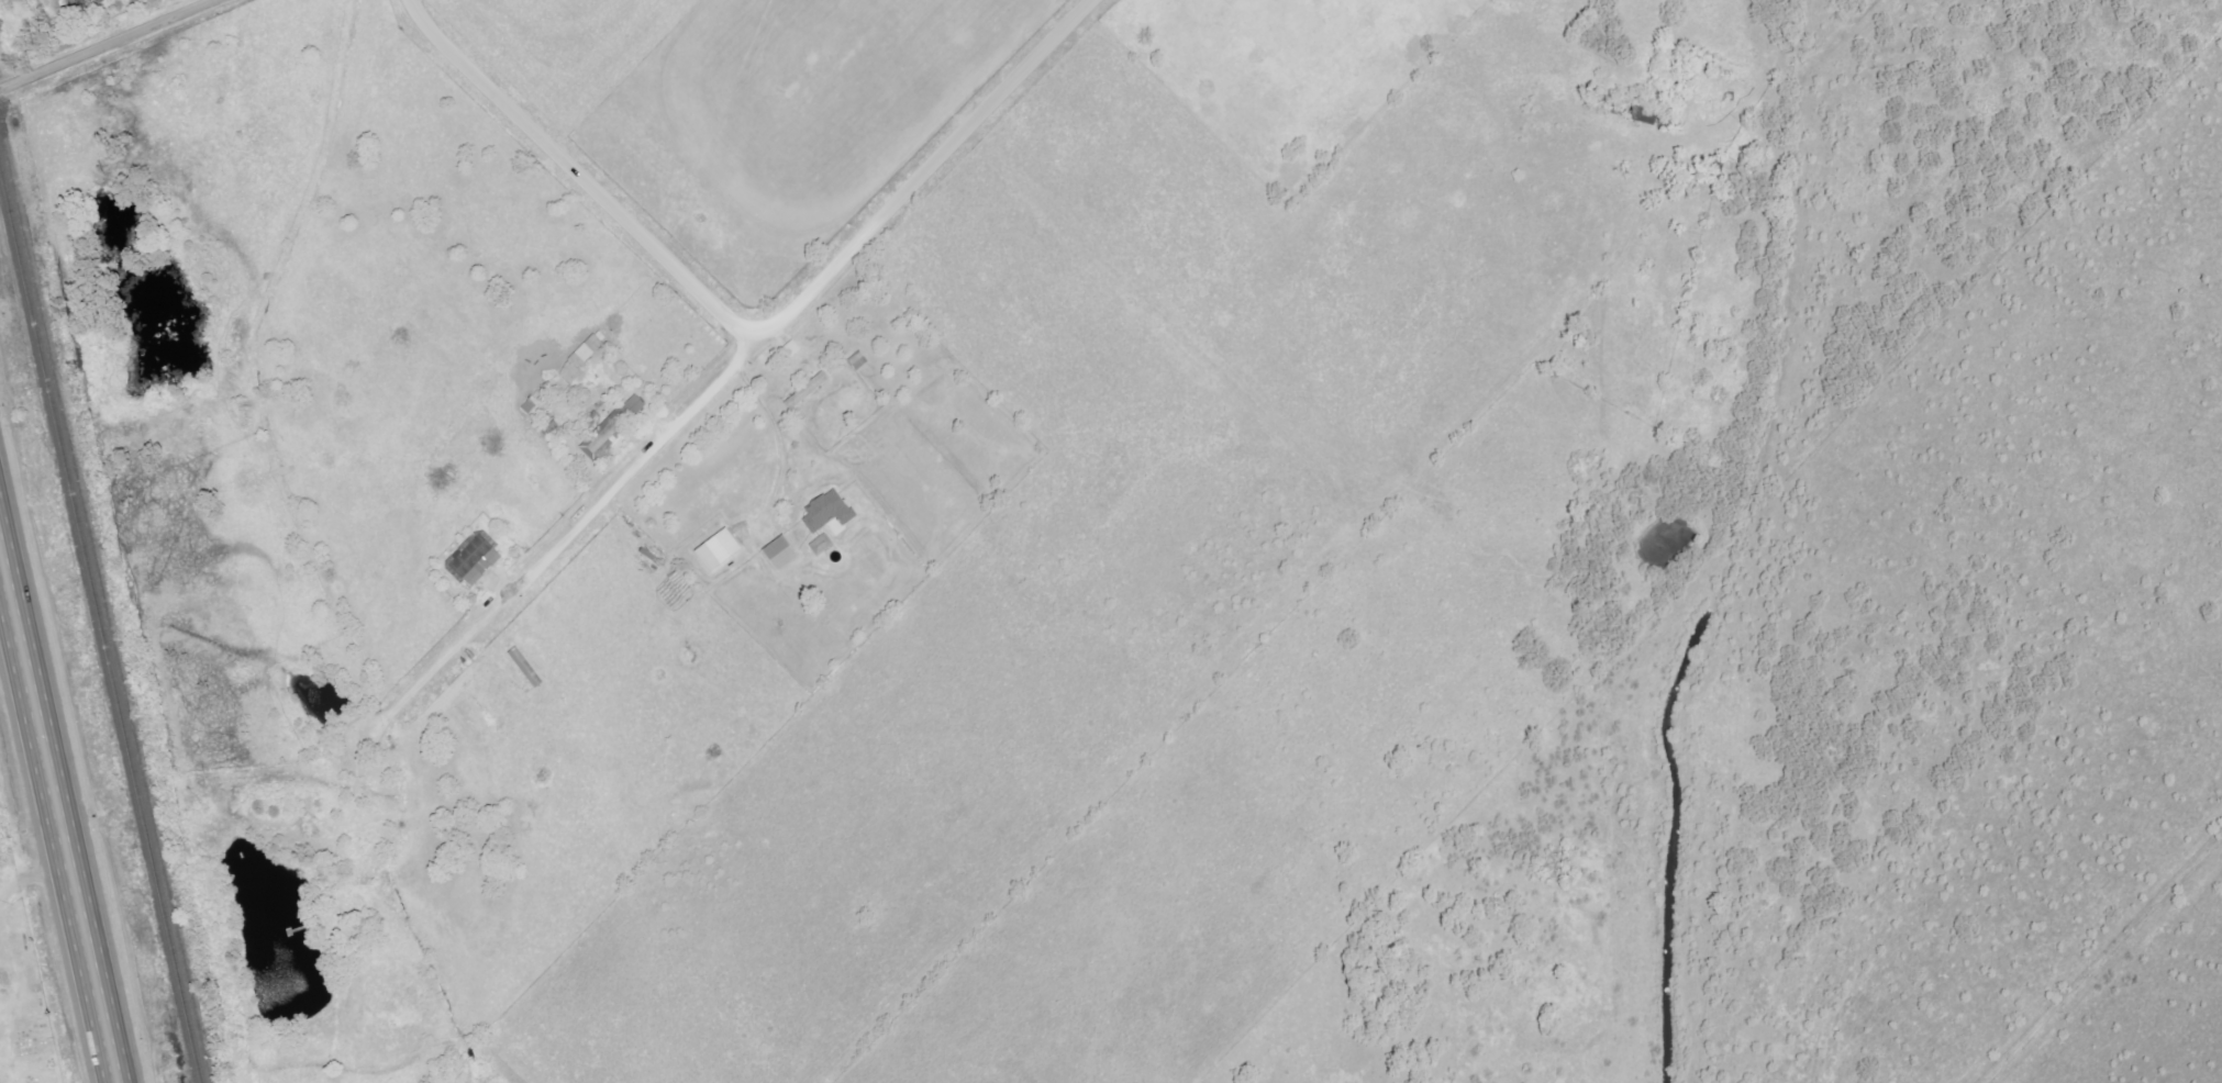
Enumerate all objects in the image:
road: (107, 45)
road: (753, 337)
building: (796, 348)
building: (588, 354)
building: (860, 360)
building: (810, 391)
building: (637, 406)
road: (775, 434)
building: (603, 443)
building: (831, 512)
road: (569, 531)
building: (824, 545)
building: (724, 550)
building: (787, 554)
building: (471, 563)
railway: (98, 638)
road: (54, 839)

